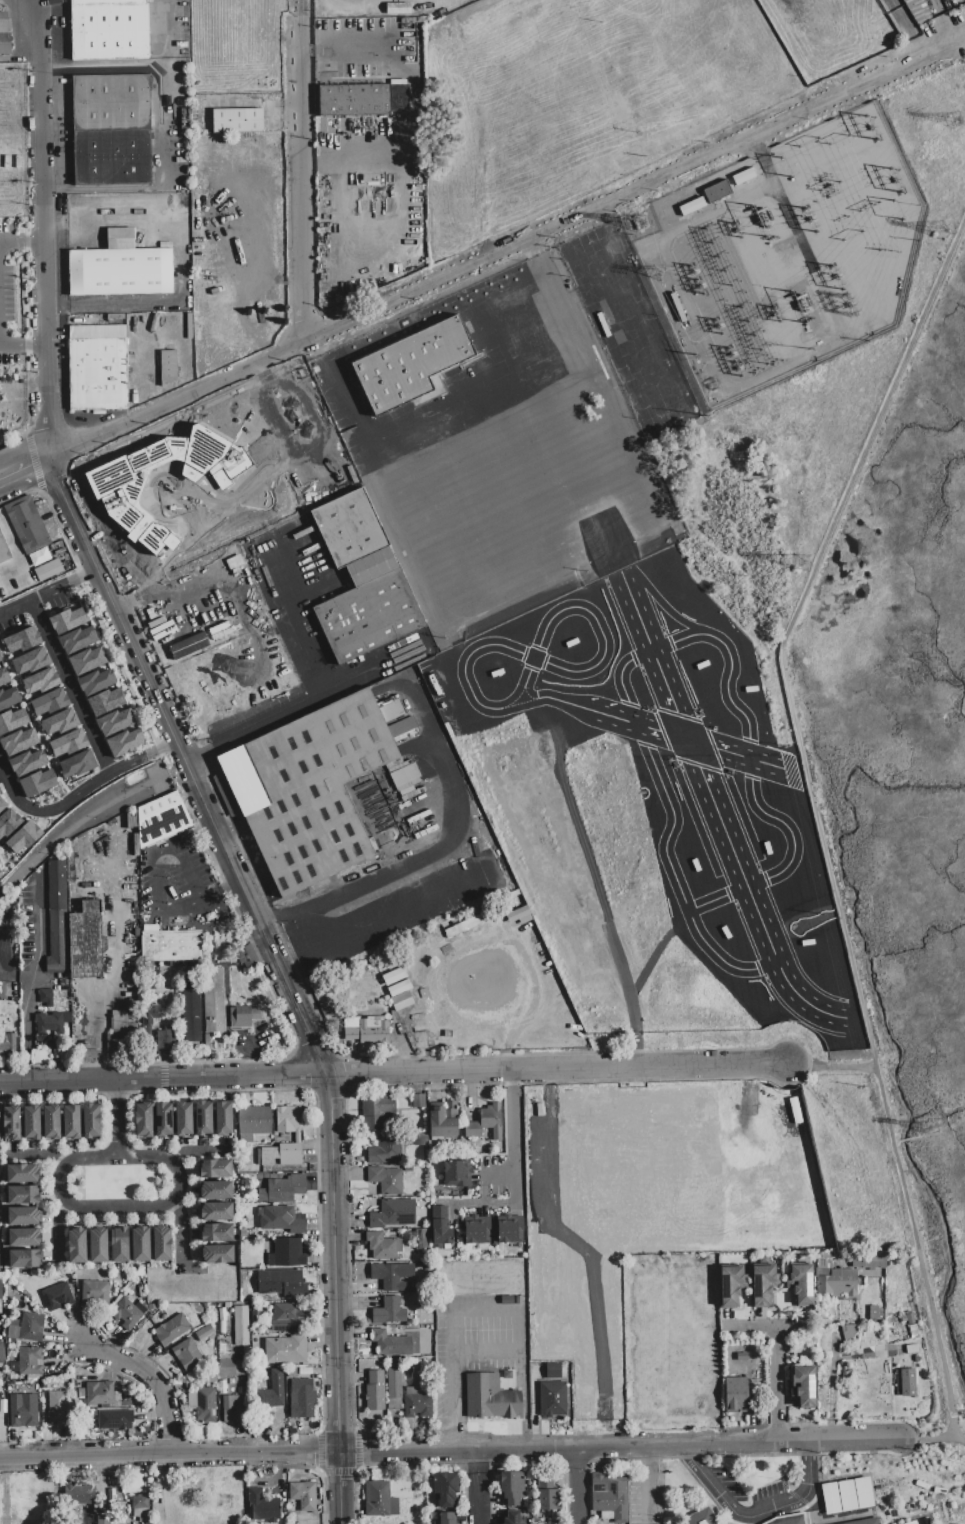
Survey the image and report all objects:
building: (398, 8)
road: (24, 10)
road: (299, 12)
road: (907, 27)
building: (109, 30)
building: (5, 36)
building: (354, 100)
road: (44, 109)
road: (415, 110)
building: (237, 121)
power tower: (950, 122)
road: (157, 127)
building: (111, 130)
road: (303, 185)
building: (716, 191)
building: (134, 207)
power tower: (638, 225)
road: (549, 230)
power tower: (944, 234)
road: (23, 244)
power substation: (783, 260)
building: (120, 272)
road: (48, 294)
road: (24, 346)
building: (410, 365)
building: (167, 366)
building: (97, 368)
road: (339, 385)
road: (49, 413)
road: (92, 436)
road: (24, 450)
road: (27, 472)
building: (130, 491)
building: (25, 524)
building: (4, 551)
building: (38, 556)
power tower: (800, 565)
building: (47, 570)
building: (362, 581)
road: (65, 584)
road: (155, 589)
road: (15, 608)
building: (67, 620)
road: (791, 637)
building: (77, 639)
building: (20, 640)
building: (188, 645)
building: (0, 659)
building: (86, 660)
building: (29, 661)
building: (3, 676)
building: (39, 681)
building: (95, 682)
road: (70, 688)
road: (327, 695)
building: (8, 697)
building: (105, 701)
building: (48, 702)
building: (12, 720)
building: (57, 722)
building: (114, 722)
building: (18, 741)
building: (124, 742)
building: (67, 743)
road: (154, 751)
building: (26, 762)
building: (76, 764)
building: (37, 783)
building: (308, 790)
building: (2, 804)
road: (59, 807)
building: (161, 819)
building: (8, 822)
building: (23, 837)
road: (450, 841)
road: (157, 852)
building: (0, 875)
road: (216, 895)
building: (56, 917)
building: (455, 932)
road: (268, 938)
building: (85, 941)
building: (170, 946)
building: (467, 947)
building: (244, 955)
road: (112, 974)
road: (35, 980)
building: (398, 987)
building: (392, 993)
building: (44, 997)
building: (213, 1000)
building: (191, 1007)
building: (240, 1018)
building: (147, 1019)
building: (50, 1023)
building: (366, 1029)
building: (122, 1032)
building: (165, 1041)
building: (7, 1045)
road: (52, 1050)
road: (831, 1069)
road: (393, 1074)
road: (511, 1077)
building: (418, 1101)
building: (375, 1109)
building: (223, 1118)
building: (202, 1119)
building: (443, 1119)
road: (116, 1120)
building: (143, 1120)
building: (163, 1120)
building: (182, 1120)
building: (91, 1122)
building: (31, 1123)
building: (51, 1123)
building: (71, 1123)
building: (253, 1123)
building: (486, 1123)
building: (11, 1124)
power tower: (928, 1126)
building: (297, 1138)
building: (419, 1139)
road: (512, 1143)
road: (191, 1149)
building: (385, 1150)
road: (37, 1153)
building: (215, 1169)
building: (22, 1173)
building: (457, 1173)
building: (386, 1180)
building: (282, 1189)
building: (215, 1190)
road: (513, 1191)
building: (23, 1195)
road: (159, 1203)
building: (216, 1212)
building: (393, 1214)
building: (23, 1216)
building: (276, 1217)
building: (441, 1226)
road: (55, 1228)
building: (508, 1228)
building: (476, 1229)
road: (180, 1231)
building: (216, 1233)
building: (24, 1237)
building: (421, 1239)
building: (140, 1244)
building: (161, 1244)
building: (119, 1245)
building: (76, 1246)
building: (97, 1246)
building: (383, 1246)
building: (286, 1253)
building: (218, 1254)
road: (919, 1258)
building: (24, 1259)
building: (0, 1261)
building: (869, 1261)
building: (392, 1276)
building: (280, 1282)
building: (836, 1282)
building: (763, 1284)
building: (800, 1284)
building: (731, 1285)
building: (95, 1292)
building: (0, 1294)
building: (57, 1297)
building: (518, 1299)
road: (467, 1309)
building: (389, 1311)
building: (873, 1312)
building: (125, 1313)
building: (286, 1318)
building: (908, 1318)
building: (240, 1326)
building: (31, 1327)
road: (767, 1327)
building: (172, 1329)
building: (913, 1332)
building: (204, 1333)
building: (430, 1338)
building: (390, 1344)
building: (911, 1349)
building: (285, 1350)
building: (1, 1353)
building: (187, 1354)
building: (30, 1361)
building: (226, 1368)
building: (553, 1371)
road: (151, 1383)
building: (907, 1383)
road: (777, 1385)
building: (804, 1387)
building: (394, 1389)
building: (272, 1391)
building: (375, 1391)
building: (99, 1393)
building: (735, 1395)
building: (490, 1397)
building: (301, 1398)
building: (552, 1399)
building: (417, 1403)
building: (206, 1405)
building: (233, 1409)
building: (59, 1410)
building: (22, 1412)
building: (114, 1420)
road: (926, 1438)
road: (621, 1450)
road: (171, 1456)
road: (646, 1456)
road: (694, 1460)
road: (479, 1463)
road: (808, 1479)
building: (511, 1488)
road: (580, 1488)
road: (345, 1489)
building: (445, 1489)
building: (77, 1493)
building: (864, 1493)
road: (647, 1494)
building: (303, 1496)
building: (847, 1496)
building: (609, 1497)
road: (479, 1498)
building: (830, 1498)
building: (376, 1499)
building: (548, 1499)
building: (263, 1506)
building: (139, 1509)
road: (736, 1514)
building: (446, 1518)
building: (512, 1518)
building: (701, 1518)
building: (102, 1519)
building: (787, 1519)
building: (866, 1521)
building: (912, 1523)

